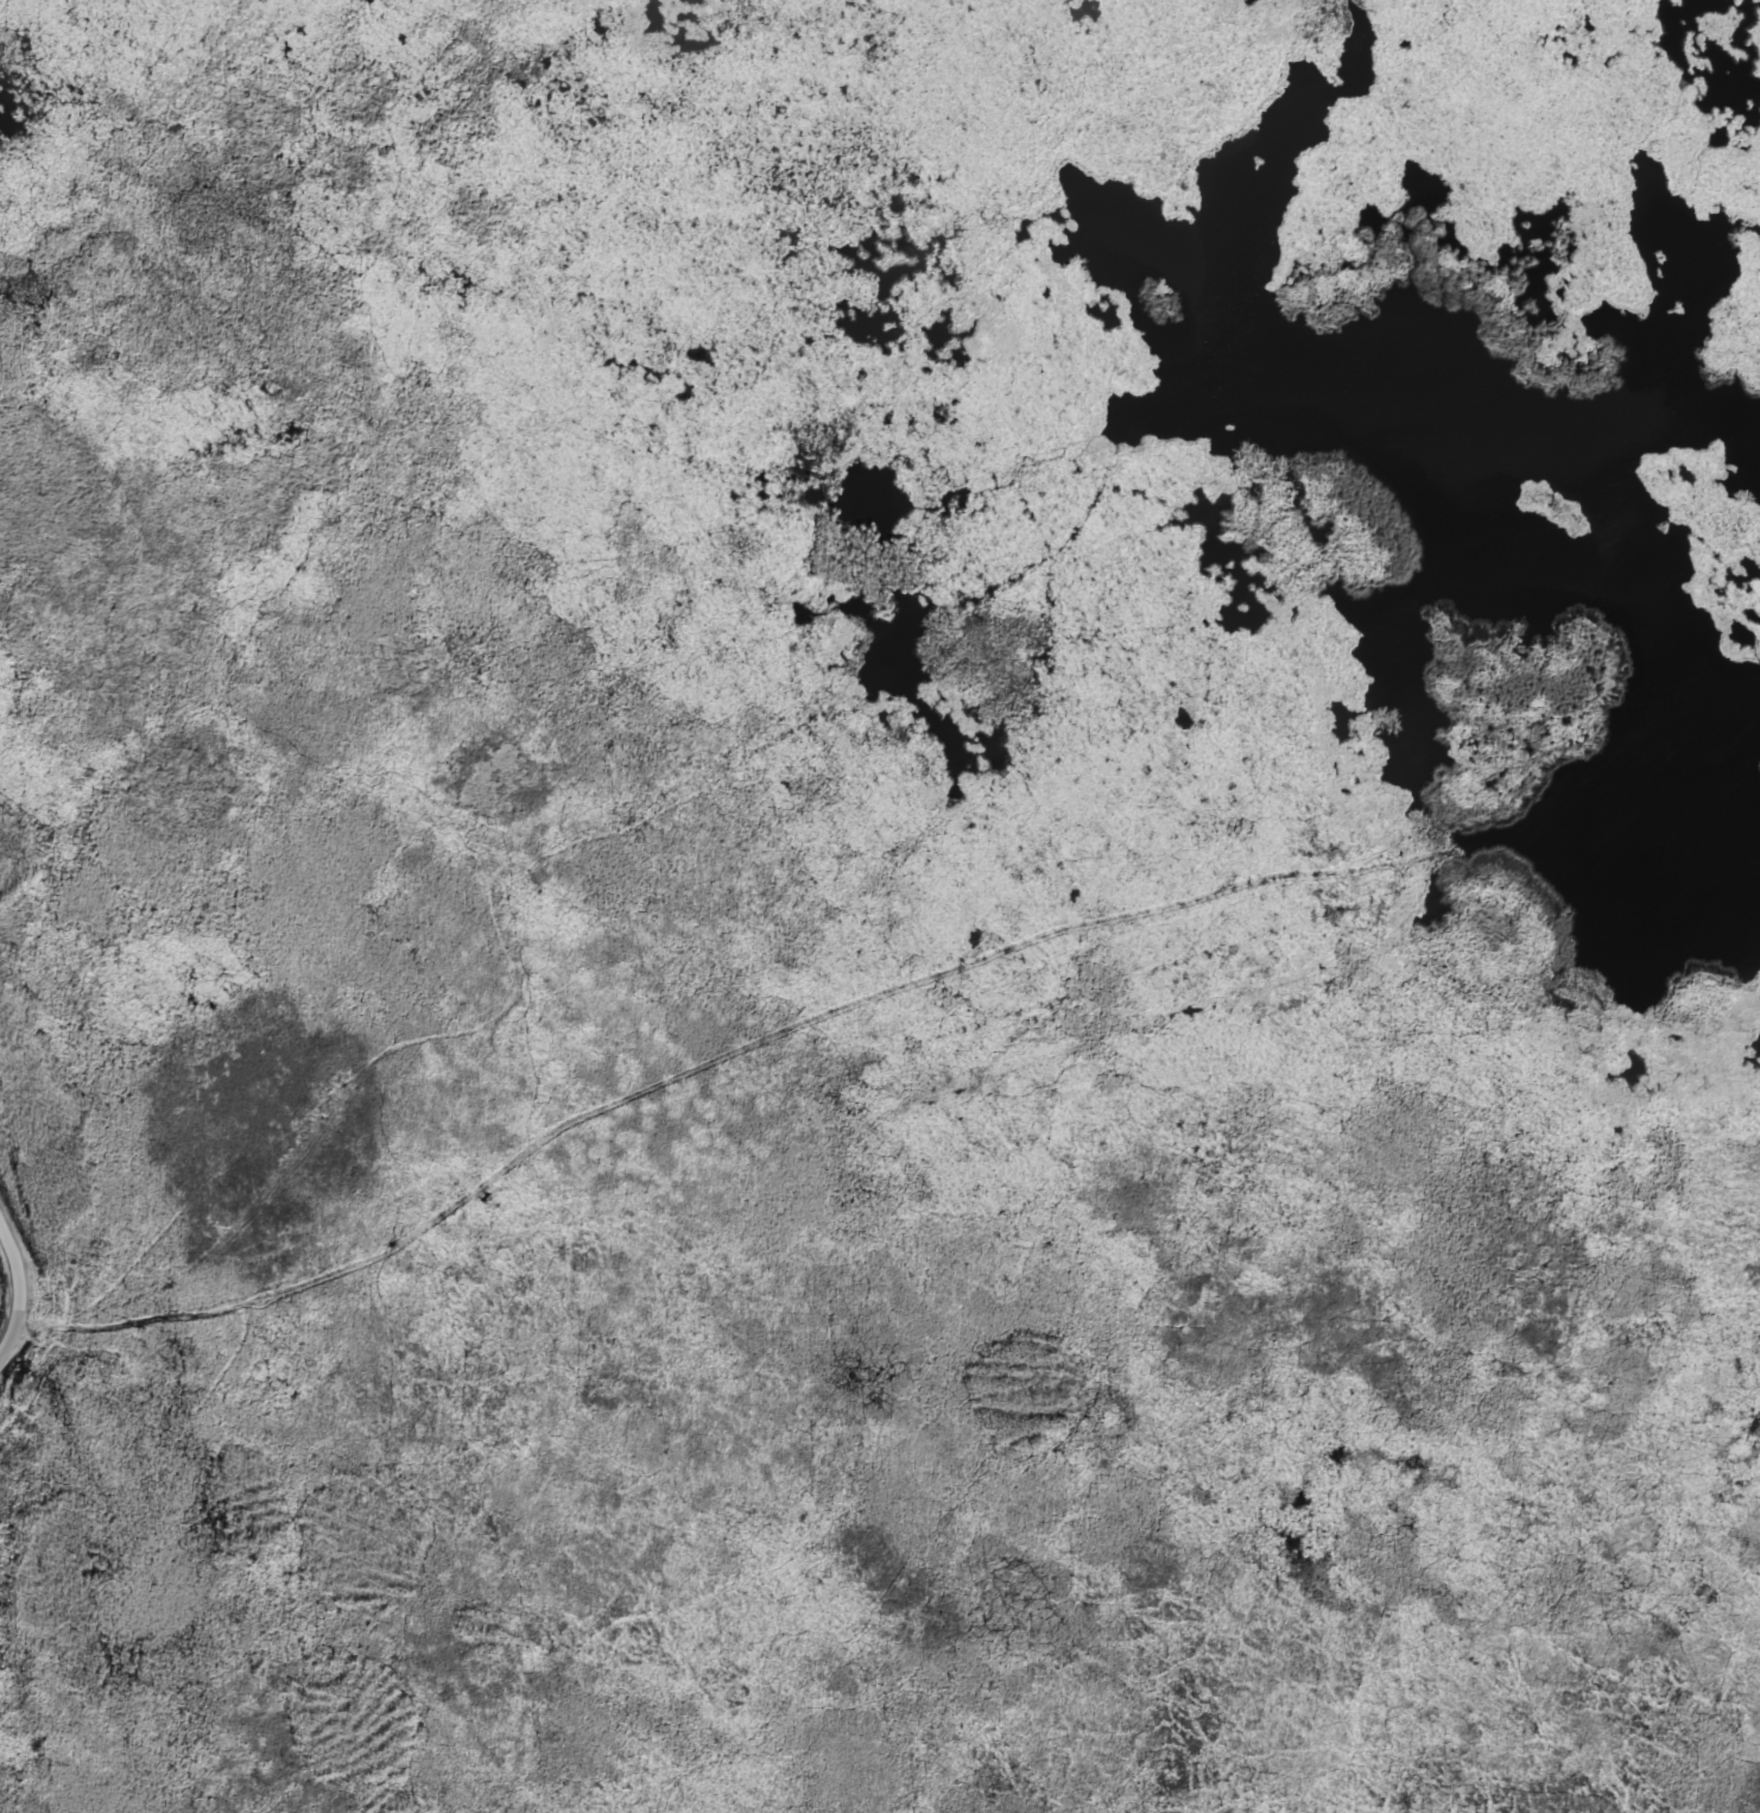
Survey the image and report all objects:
road: (25, 1282)

